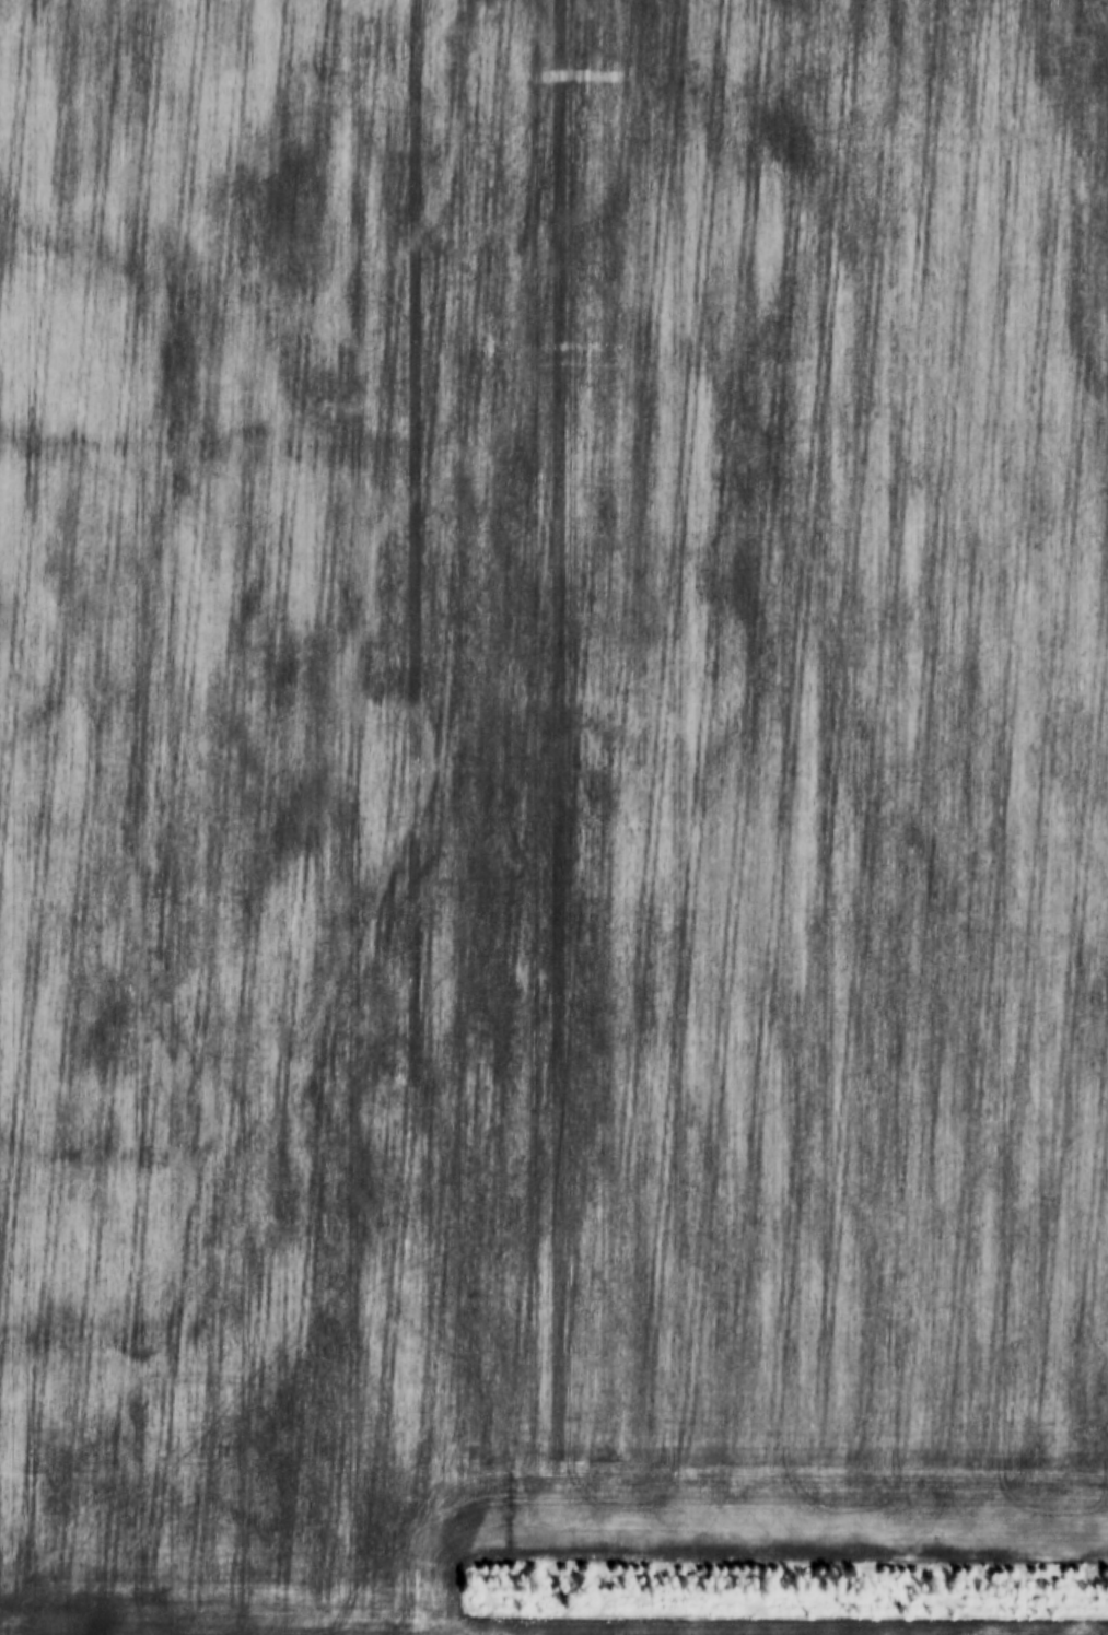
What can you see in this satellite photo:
crop: (549, 804)

